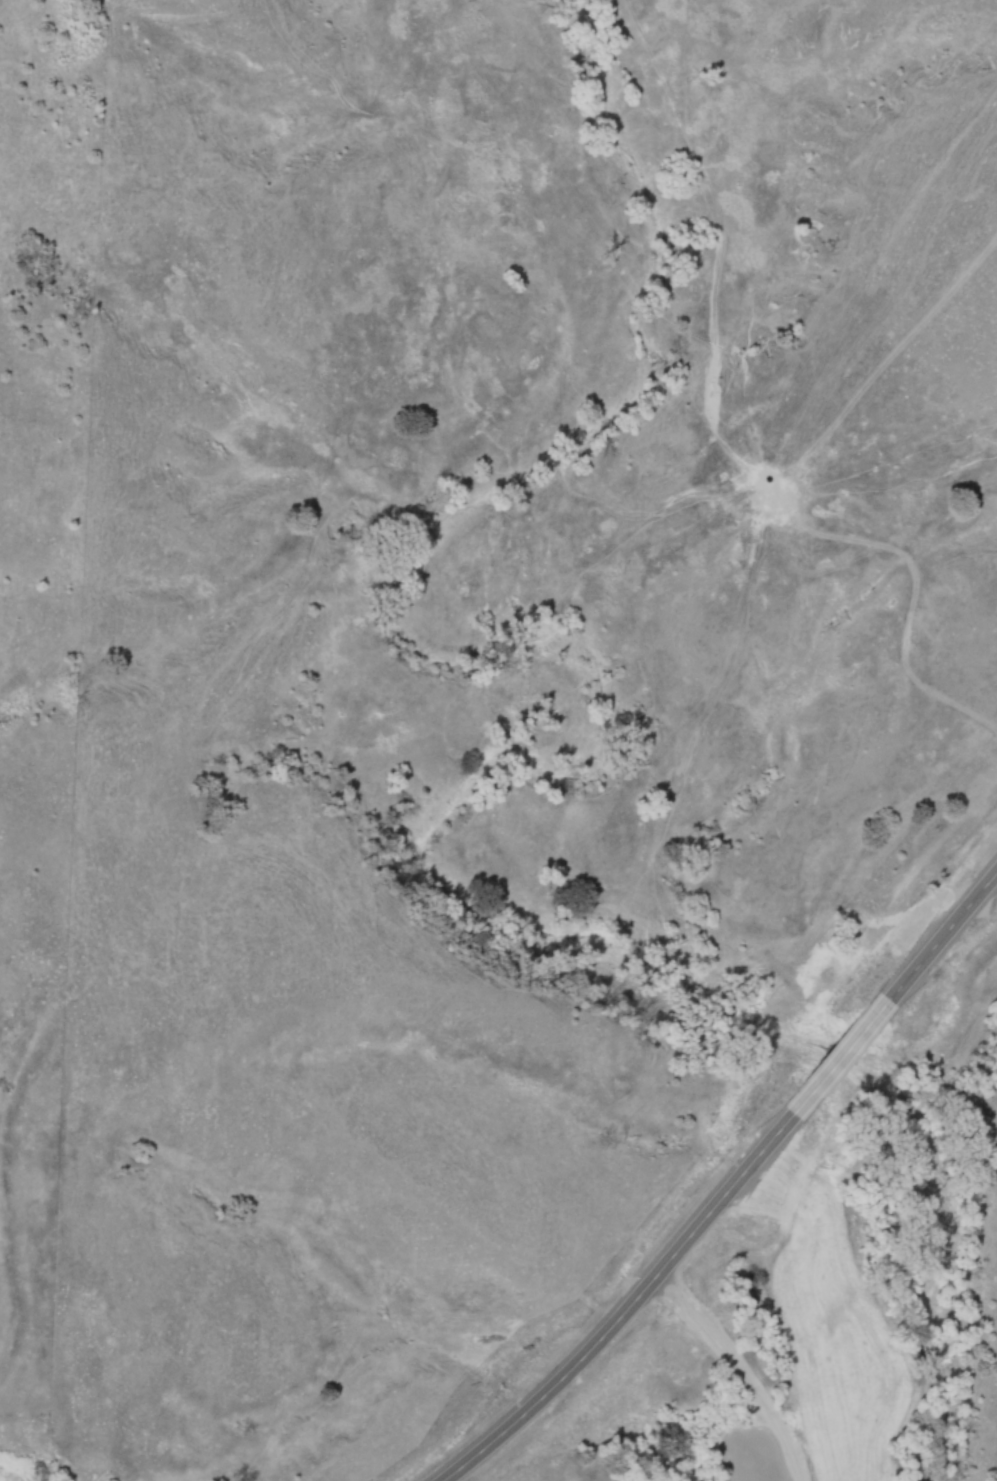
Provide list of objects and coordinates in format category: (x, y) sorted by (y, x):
road: (945, 940)
road: (847, 1060)
road: (626, 1304)
airport: (30, 1307)

